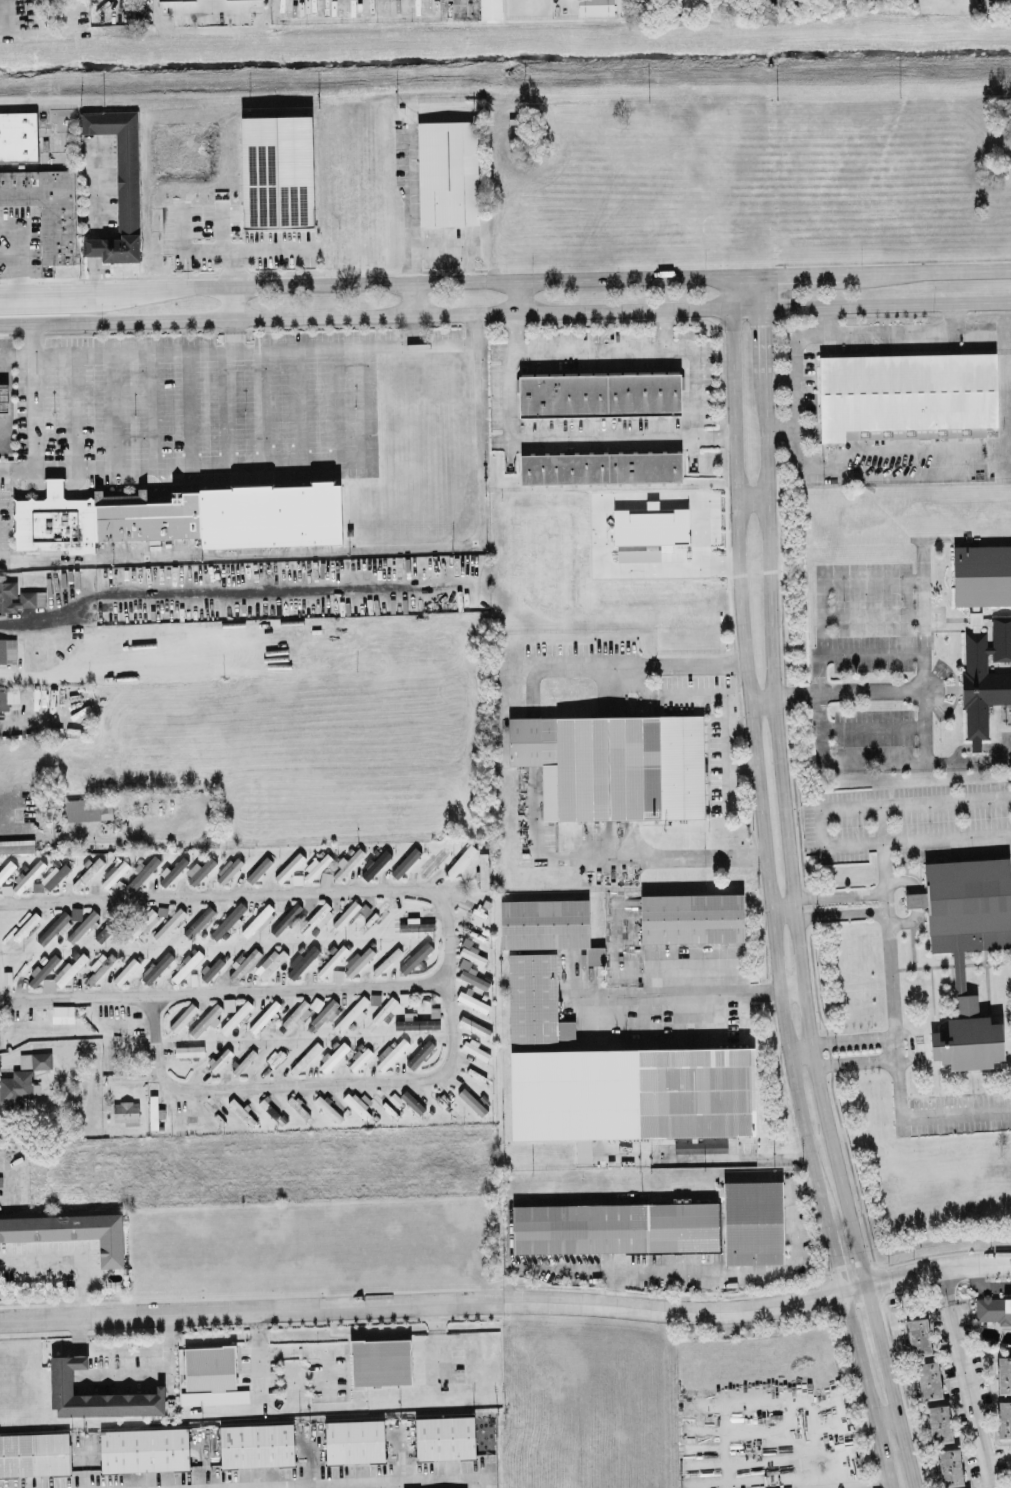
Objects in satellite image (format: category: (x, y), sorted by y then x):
road: (209, 2)
building: (594, 6)
building: (490, 9)
building: (277, 171)
building: (447, 172)
building: (118, 184)
building: (37, 187)
road: (97, 190)
road: (409, 208)
road: (243, 248)
road: (453, 248)
road: (21, 250)
road: (11, 257)
road: (231, 267)
road: (93, 270)
road: (926, 272)
road: (792, 276)
road: (443, 282)
road: (46, 287)
road: (118, 287)
road: (751, 293)
road: (512, 297)
road: (411, 298)
road: (229, 300)
road: (30, 304)
road: (885, 304)
road: (379, 313)
road: (827, 319)
road: (412, 329)
road: (661, 329)
road: (231, 332)
road: (816, 333)
road: (238, 348)
road: (647, 348)
road: (760, 349)
road: (31, 393)
building: (599, 394)
building: (907, 395)
building: (3, 396)
road: (778, 425)
road: (554, 439)
road: (901, 449)
road: (978, 461)
road: (239, 462)
road: (823, 463)
building: (600, 467)
road: (901, 476)
road: (749, 496)
building: (180, 516)
road: (597, 516)
building: (650, 524)
road: (355, 549)
building: (982, 574)
road: (222, 590)
building: (18, 596)
road: (819, 597)
road: (49, 610)
building: (974, 617)
building: (7, 648)
road: (922, 653)
road: (50, 671)
building: (984, 677)
road: (846, 691)
road: (724, 695)
building: (8, 697)
road: (759, 697)
road: (33, 720)
road: (821, 752)
building: (614, 764)
road: (739, 765)
road: (530, 772)
road: (914, 801)
building: (88, 808)
road: (819, 826)
road: (101, 830)
road: (915, 839)
road: (784, 841)
building: (16, 845)
building: (460, 860)
building: (405, 861)
building: (432, 861)
building: (346, 862)
building: (374, 863)
building: (315, 865)
building: (289, 866)
building: (200, 867)
building: (228, 868)
building: (258, 868)
building: (89, 869)
building: (142, 870)
building: (483, 870)
building: (55, 874)
building: (27, 875)
road: (765, 887)
road: (836, 895)
road: (914, 898)
road: (779, 907)
road: (837, 910)
building: (349, 912)
building: (691, 917)
building: (198, 921)
building: (169, 923)
building: (416, 924)
building: (26, 925)
building: (547, 925)
building: (966, 947)
road: (447, 949)
building: (415, 956)
building: (301, 960)
building: (331, 960)
building: (386, 960)
road: (888, 960)
building: (269, 963)
building: (355, 963)
building: (186, 964)
building: (472, 976)
road: (788, 988)
road: (224, 991)
road: (682, 992)
building: (535, 999)
building: (472, 1000)
building: (385, 1010)
building: (325, 1012)
building: (62, 1013)
building: (351, 1013)
building: (417, 1022)
road: (908, 1045)
road: (799, 1052)
building: (392, 1053)
building: (420, 1053)
building: (333, 1056)
building: (305, 1057)
building: (358, 1057)
building: (35, 1059)
building: (16, 1088)
building: (631, 1093)
building: (471, 1100)
building: (412, 1101)
building: (357, 1105)
building: (125, 1110)
road: (955, 1113)
building: (699, 1146)
building: (753, 1221)
building: (615, 1227)
building: (70, 1231)
road: (797, 1253)
road: (68, 1260)
road: (565, 1266)
building: (0, 1268)
road: (937, 1268)
road: (665, 1270)
road: (434, 1303)
building: (993, 1309)
road: (875, 1323)
building: (918, 1335)
road: (311, 1349)
building: (380, 1361)
building: (209, 1367)
building: (1004, 1373)
road: (123, 1374)
road: (969, 1377)
building: (929, 1379)
road: (257, 1392)
building: (96, 1394)
road: (884, 1414)
building: (1004, 1418)
building: (939, 1422)
road: (900, 1425)
building: (445, 1437)
building: (354, 1440)
building: (256, 1444)
road: (734, 1445)
building: (144, 1449)
building: (34, 1453)
building: (949, 1466)
road: (332, 1479)
road: (382, 1482)
road: (860, 1483)

